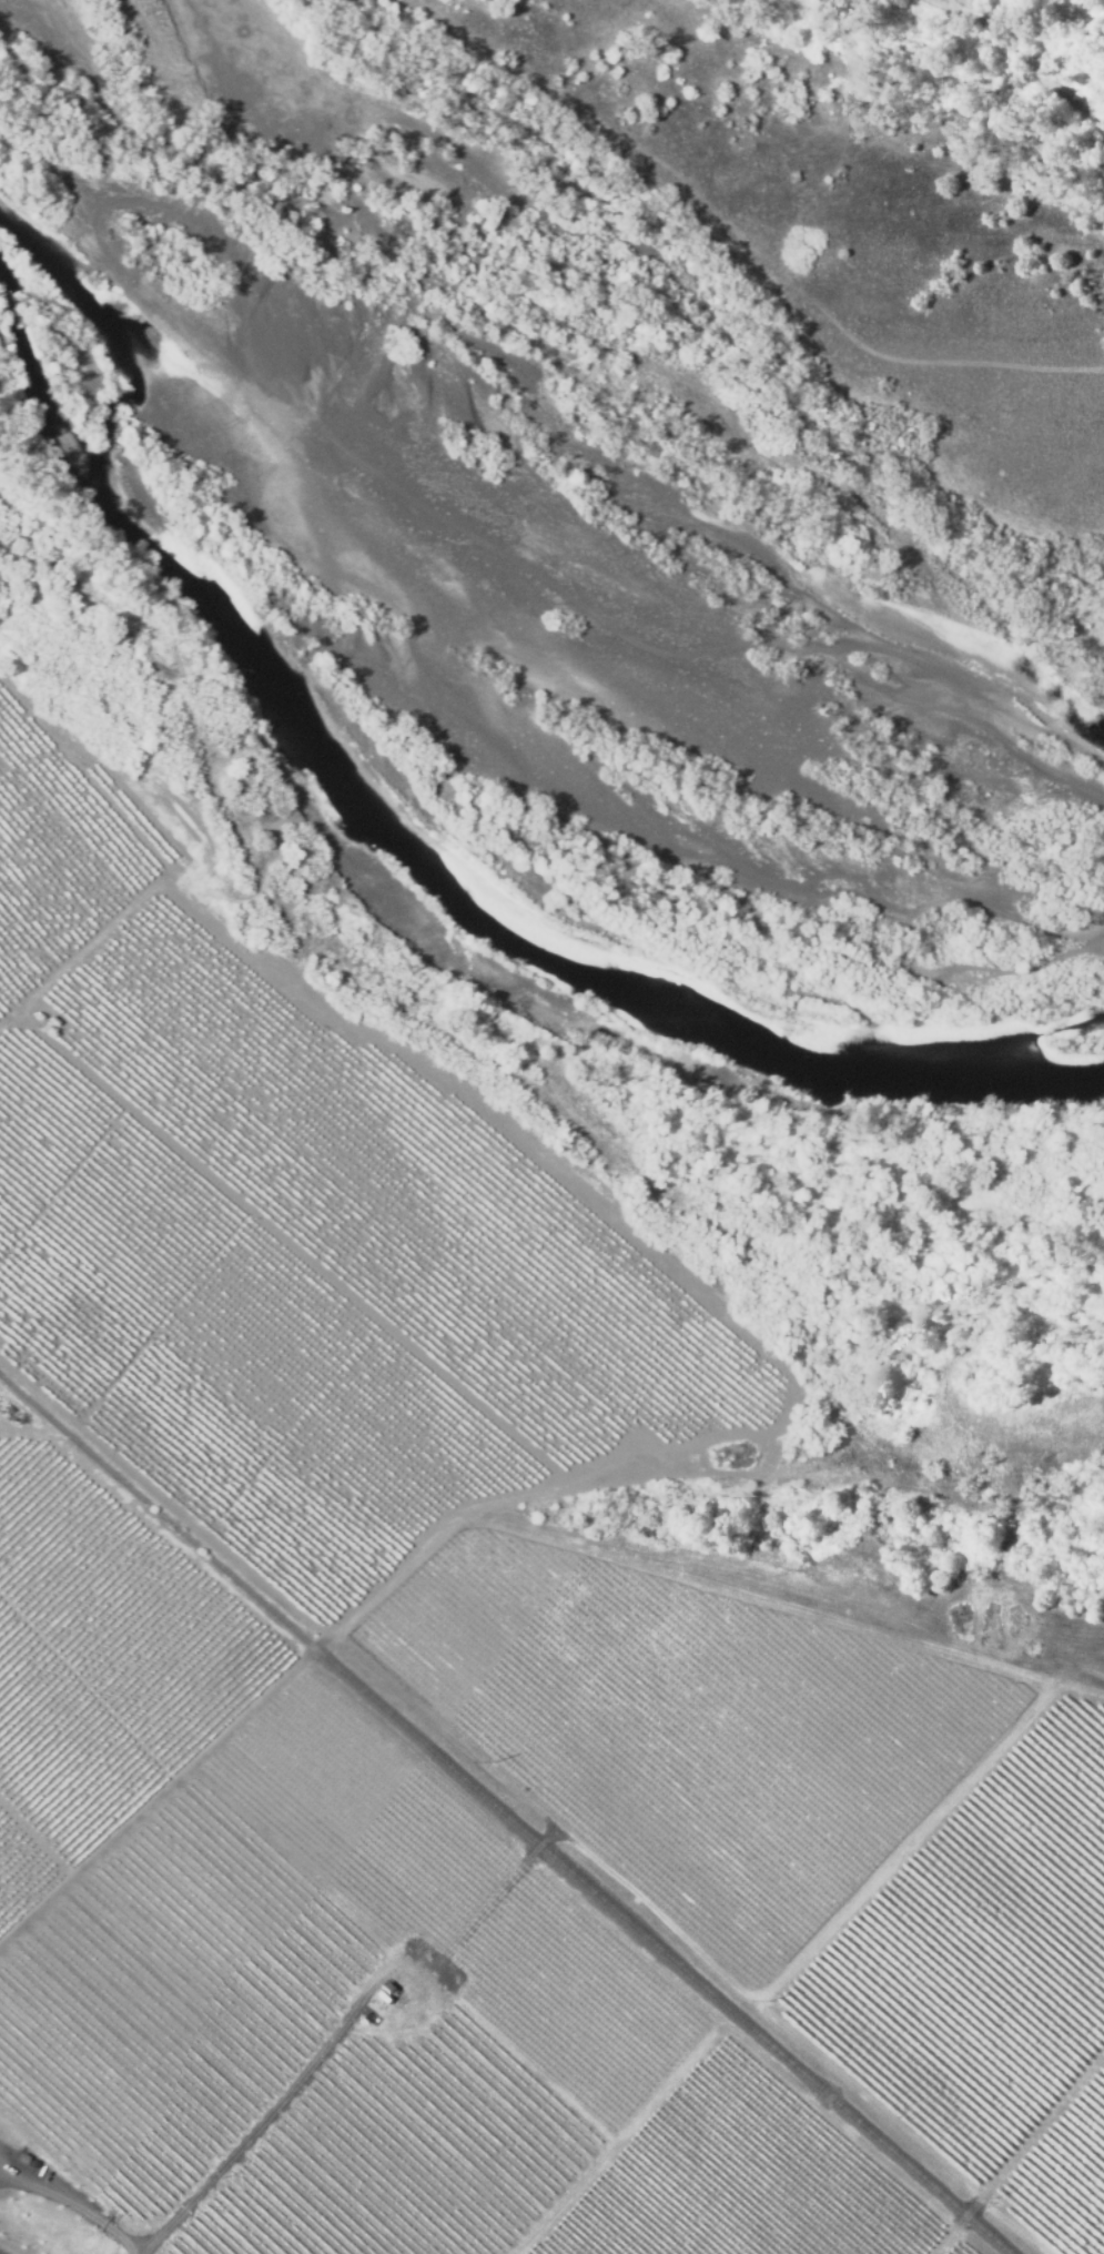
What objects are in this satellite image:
river: (482, 789)
building: (50, 1019)
railway: (508, 1815)
building: (394, 2009)

